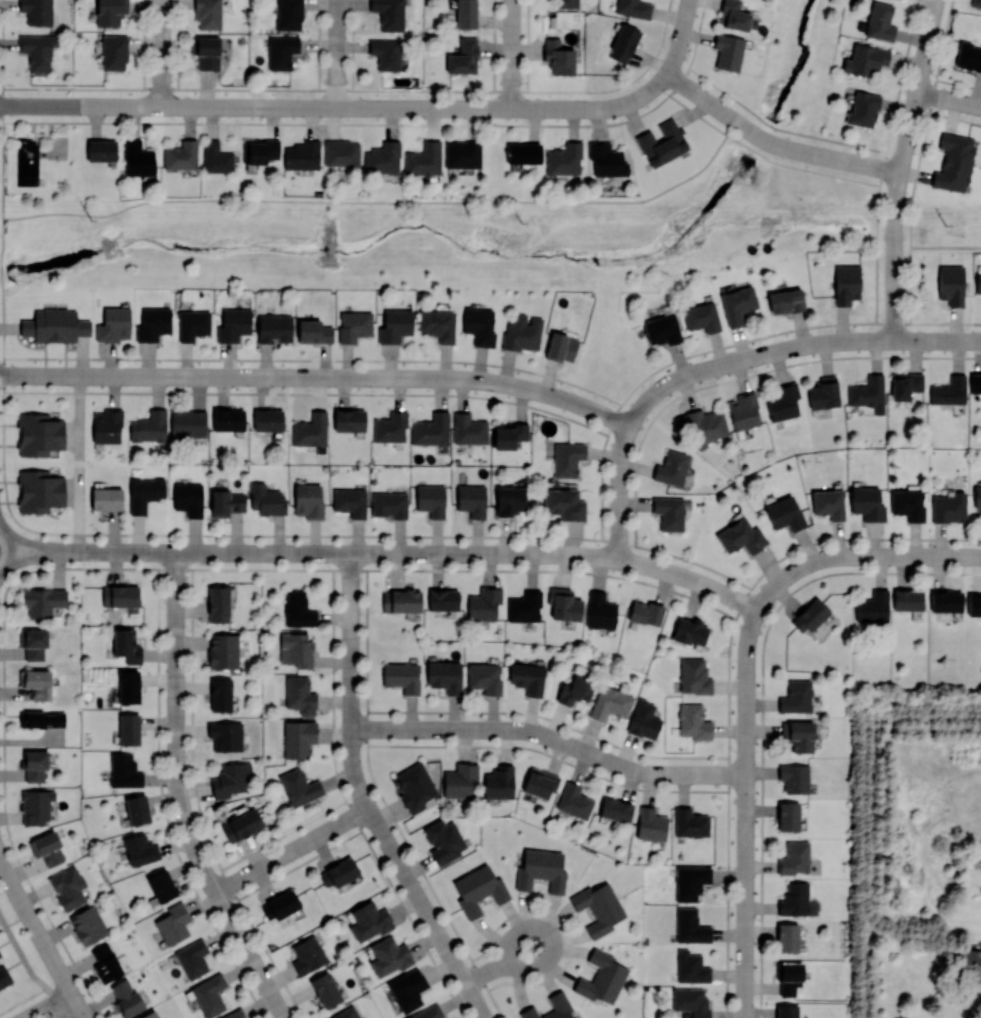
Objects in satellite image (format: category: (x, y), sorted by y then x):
building: (975, 3)
building: (567, 4)
building: (634, 8)
building: (37, 11)
building: (111, 12)
building: (207, 13)
building: (466, 13)
building: (389, 14)
building: (288, 15)
building: (733, 15)
building: (880, 21)
road: (680, 37)
building: (623, 42)
building: (37, 50)
building: (206, 51)
building: (281, 51)
building: (728, 51)
building: (114, 52)
road: (162, 53)
road: (337, 53)
building: (386, 53)
road: (512, 54)
building: (968, 55)
building: (463, 57)
building: (558, 57)
building: (866, 59)
road: (949, 99)
road: (339, 107)
building: (863, 109)
building: (662, 143)
road: (774, 144)
park: (57, 147)
building: (259, 150)
building: (100, 151)
building: (341, 152)
building: (523, 153)
building: (462, 154)
building: (181, 155)
building: (302, 155)
park: (42, 157)
building: (216, 157)
building: (383, 157)
road: (765, 157)
building: (137, 158)
building: (424, 158)
building: (564, 159)
building: (606, 159)
road: (883, 159)
road: (919, 159)
building: (954, 161)
road: (901, 168)
road: (376, 201)
power tower: (90, 220)
power tower: (520, 222)
power tower: (945, 224)
road: (946, 245)
building: (978, 283)
building: (846, 284)
building: (951, 284)
building: (786, 300)
building: (737, 304)
building: (701, 316)
road: (928, 321)
building: (113, 324)
building: (152, 324)
building: (192, 324)
building: (233, 324)
building: (437, 324)
building: (55, 325)
building: (354, 325)
building: (395, 325)
building: (479, 325)
building: (273, 328)
building: (661, 328)
building: (313, 331)
building: (522, 333)
road: (937, 340)
building: (560, 347)
road: (750, 358)
road: (318, 377)
building: (975, 383)
building: (905, 385)
building: (949, 390)
building: (824, 392)
building: (868, 393)
building: (783, 401)
building: (743, 410)
building: (228, 419)
building: (268, 419)
building: (349, 420)
building: (187, 423)
building: (107, 425)
building: (702, 425)
building: (149, 426)
building: (390, 427)
building: (310, 429)
building: (431, 429)
building: (468, 429)
building: (39, 434)
building: (509, 434)
building: (567, 458)
building: (672, 467)
building: (39, 490)
road: (619, 492)
building: (144, 493)
building: (188, 498)
building: (106, 499)
building: (431, 499)
building: (472, 499)
building: (267, 500)
building: (308, 500)
building: (509, 500)
building: (978, 500)
building: (350, 501)
building: (226, 503)
building: (564, 503)
building: (828, 503)
building: (867, 503)
building: (390, 504)
building: (908, 504)
building: (949, 507)
building: (669, 512)
building: (785, 513)
building: (741, 537)
road: (13, 549)
road: (391, 553)
road: (859, 556)
building: (120, 595)
building: (443, 599)
building: (908, 599)
building: (402, 600)
building: (43, 601)
park: (172, 601)
building: (946, 601)
building: (218, 603)
building: (484, 603)
building: (564, 604)
building: (974, 605)
building: (524, 606)
building: (872, 607)
building: (298, 609)
building: (600, 611)
building: (645, 612)
building: (810, 615)
building: (689, 631)
building: (33, 642)
building: (126, 646)
building: (296, 649)
building: (223, 651)
building: (445, 675)
building: (694, 675)
building: (402, 676)
building: (485, 677)
building: (527, 677)
building: (36, 683)
building: (129, 686)
building: (575, 689)
building: (221, 694)
building: (300, 694)
building: (796, 696)
building: (610, 703)
building: (42, 719)
building: (643, 720)
building: (693, 721)
building: (129, 729)
building: (798, 734)
building: (226, 735)
road: (550, 737)
building: (298, 738)
building: (34, 765)
building: (124, 771)
building: (794, 777)
building: (230, 779)
building: (459, 780)
building: (499, 782)
building: (540, 782)
building: (298, 786)
building: (414, 786)
road: (178, 796)
road: (363, 800)
building: (574, 800)
building: (36, 805)
building: (137, 808)
building: (615, 809)
road: (745, 813)
building: (788, 816)
building: (690, 822)
building: (242, 824)
building: (650, 824)
building: (444, 840)
building: (47, 848)
building: (140, 849)
road: (290, 851)
building: (794, 858)
building: (541, 870)
building: (339, 872)
building: (690, 881)
building: (161, 885)
building: (68, 887)
building: (478, 889)
building: (794, 899)
building: (280, 904)
building: (598, 907)
building: (369, 920)
building: (173, 923)
building: (88, 925)
building: (690, 926)
road: (39, 933)
building: (787, 937)
building: (307, 955)
building: (389, 956)
building: (0, 957)
building: (192, 958)
building: (106, 963)
road: (500, 963)
building: (970, 964)
building: (691, 967)
road: (30, 969)
building: (4, 976)
building: (601, 977)
building: (789, 977)
building: (407, 988)
building: (325, 989)
building: (209, 995)
building: (126, 998)
building: (558, 1000)
building: (690, 1001)
road: (47, 1004)
building: (787, 1011)
building: (429, 1012)
road: (70, 1013)
road: (81, 1013)
building: (346, 1013)
building: (235, 1014)
building: (150, 1015)

